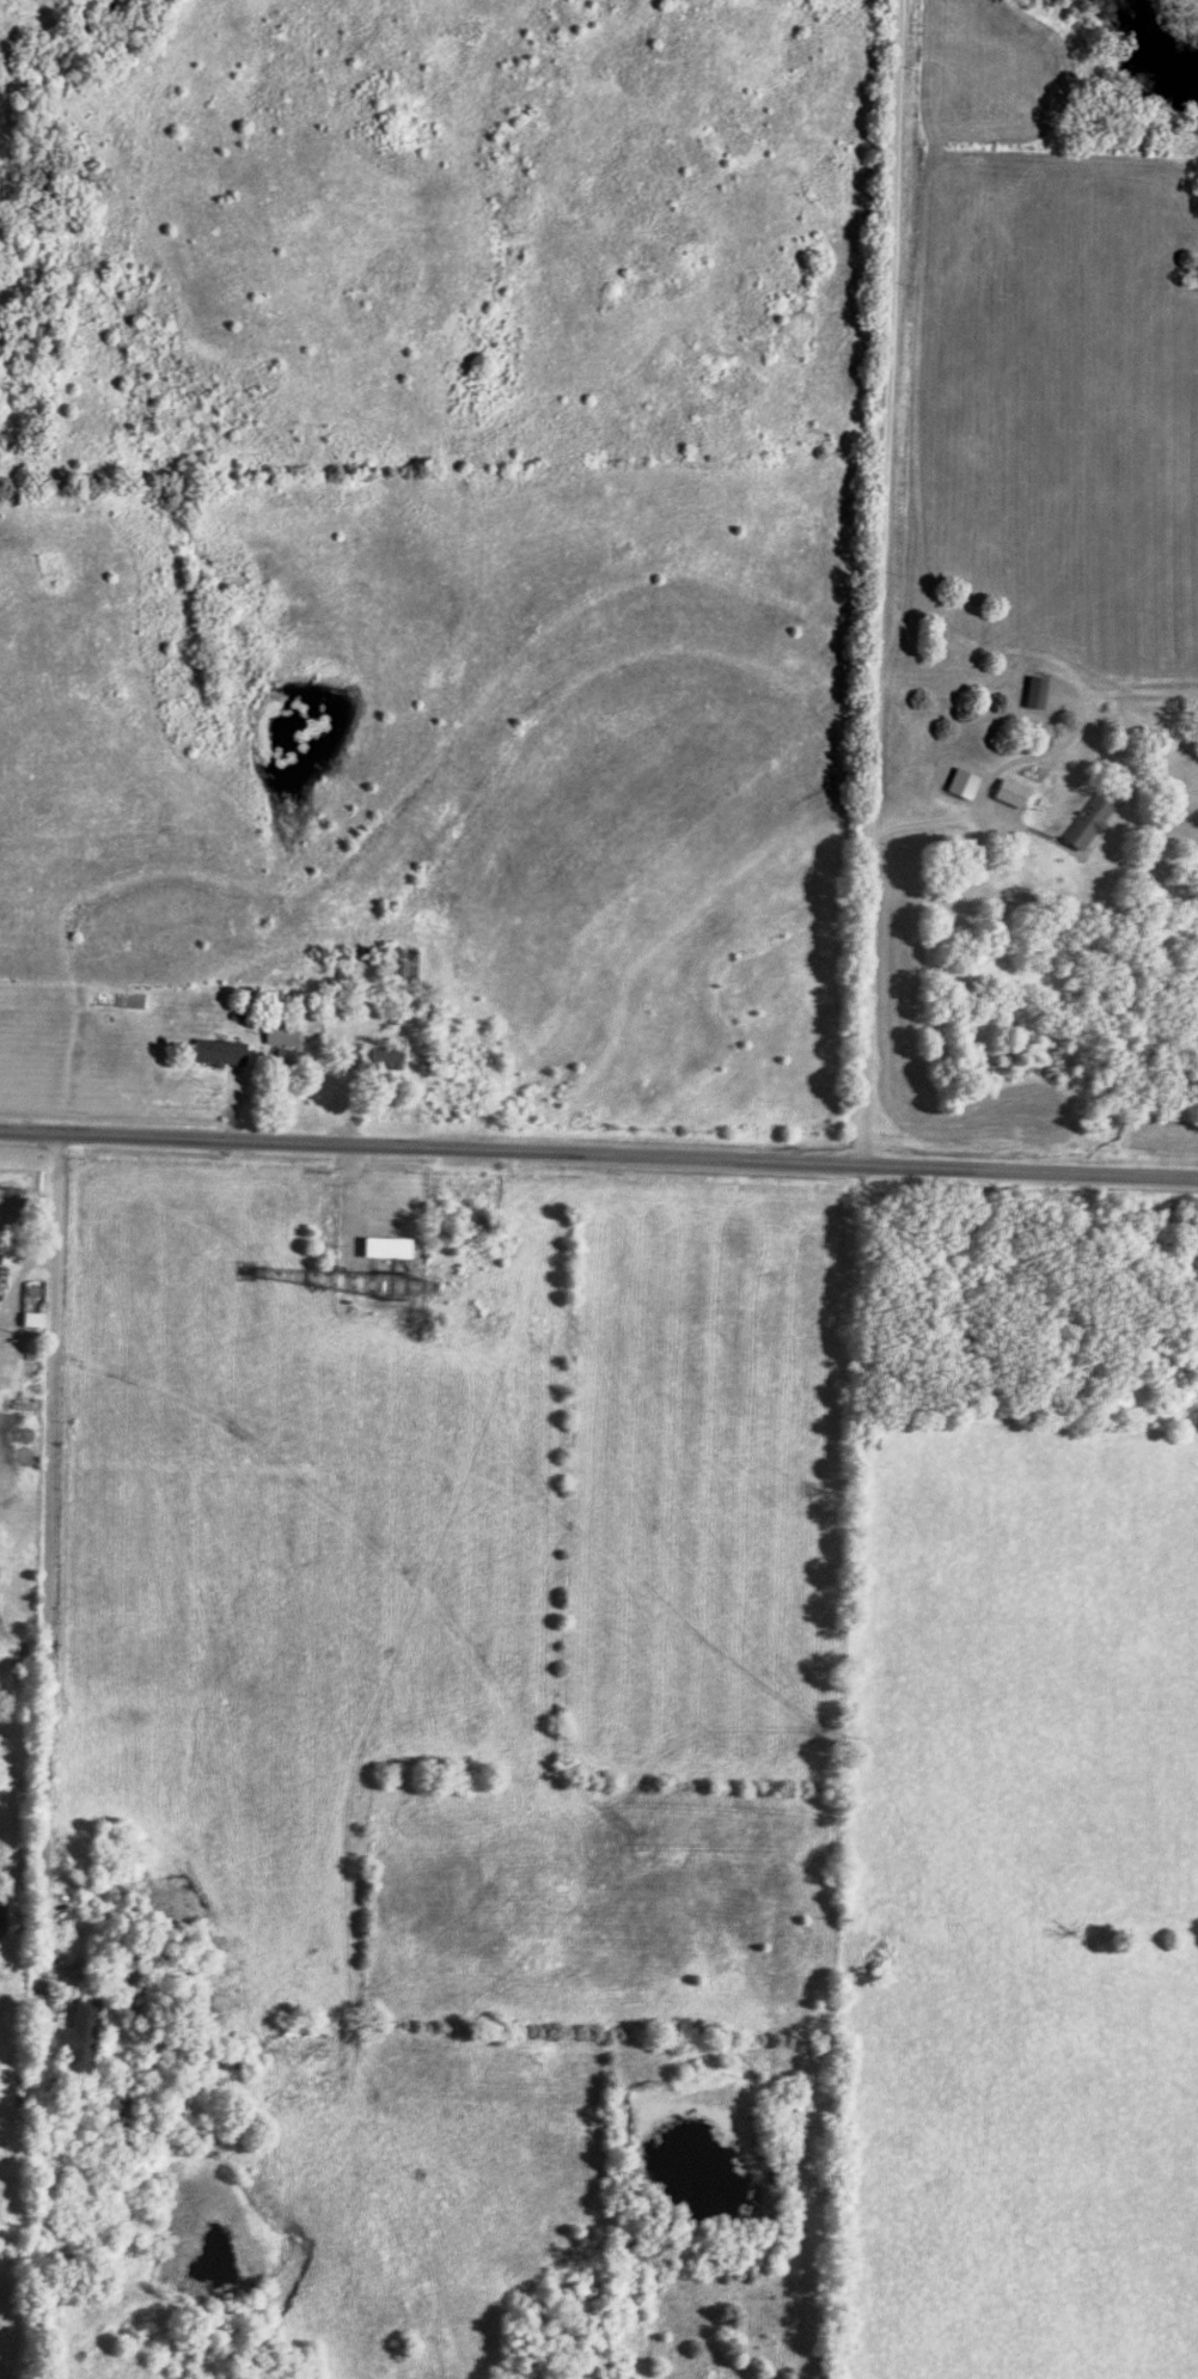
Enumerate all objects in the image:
road: (884, 584)
building: (1037, 689)
building: (964, 780)
building: (1011, 789)
road: (991, 798)
building: (1088, 818)
building: (408, 960)
building: (282, 1029)
building: (220, 1049)
road: (352, 1149)
road: (598, 1157)
building: (8, 1204)
building: (387, 1244)
building: (8, 1253)
building: (33, 1317)
road: (45, 1757)
building: (81, 2031)

